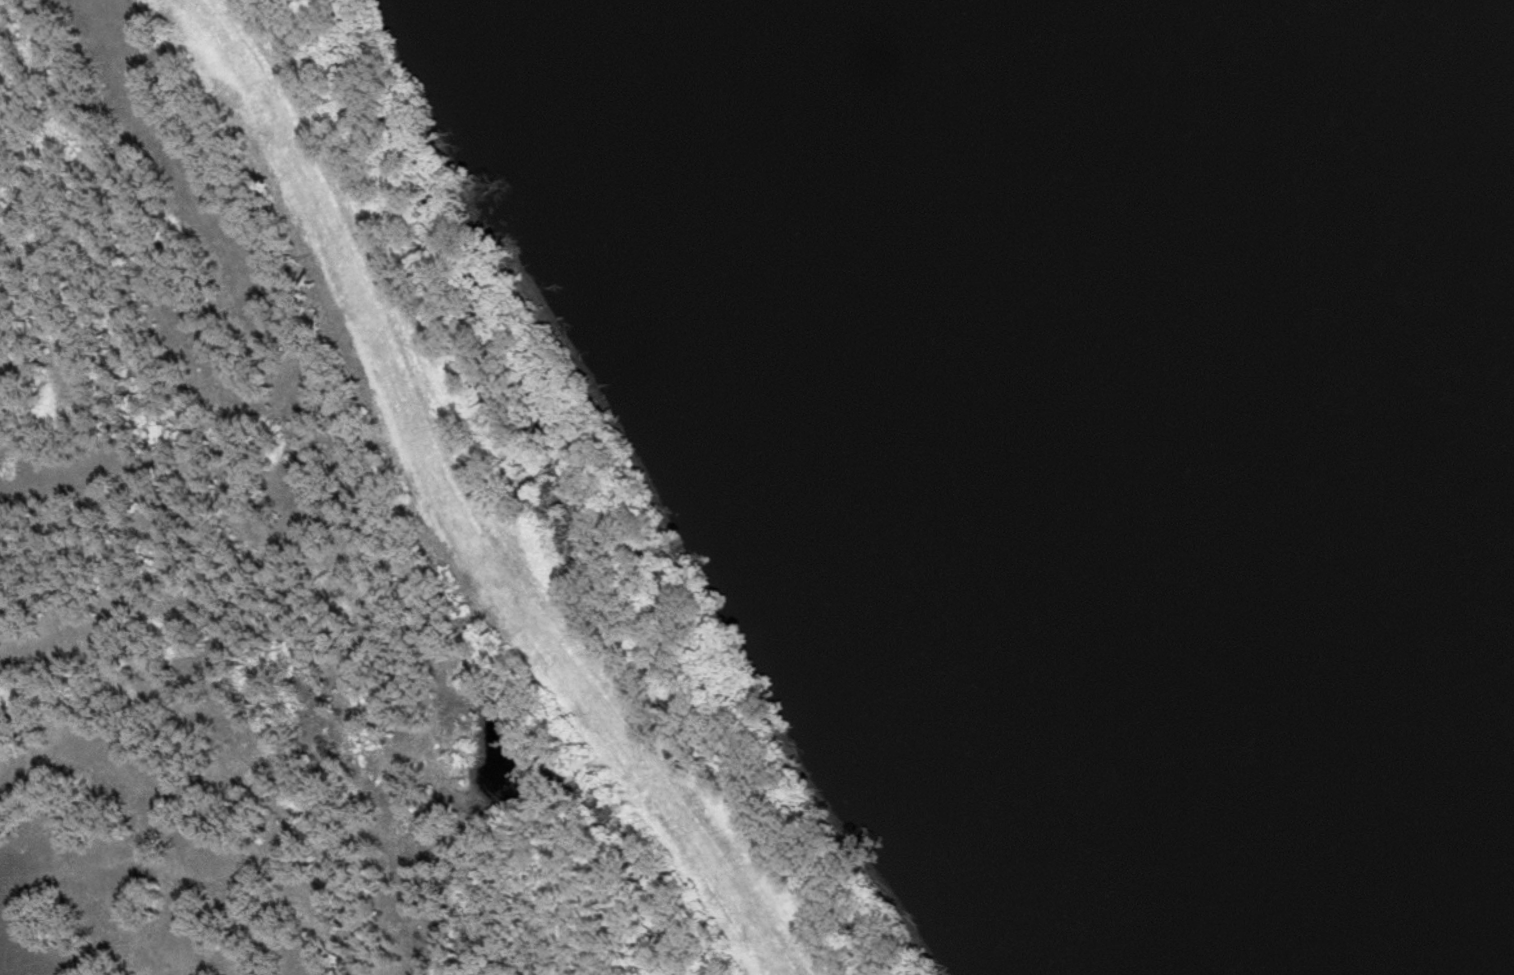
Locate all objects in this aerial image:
river: (1346, 421)

